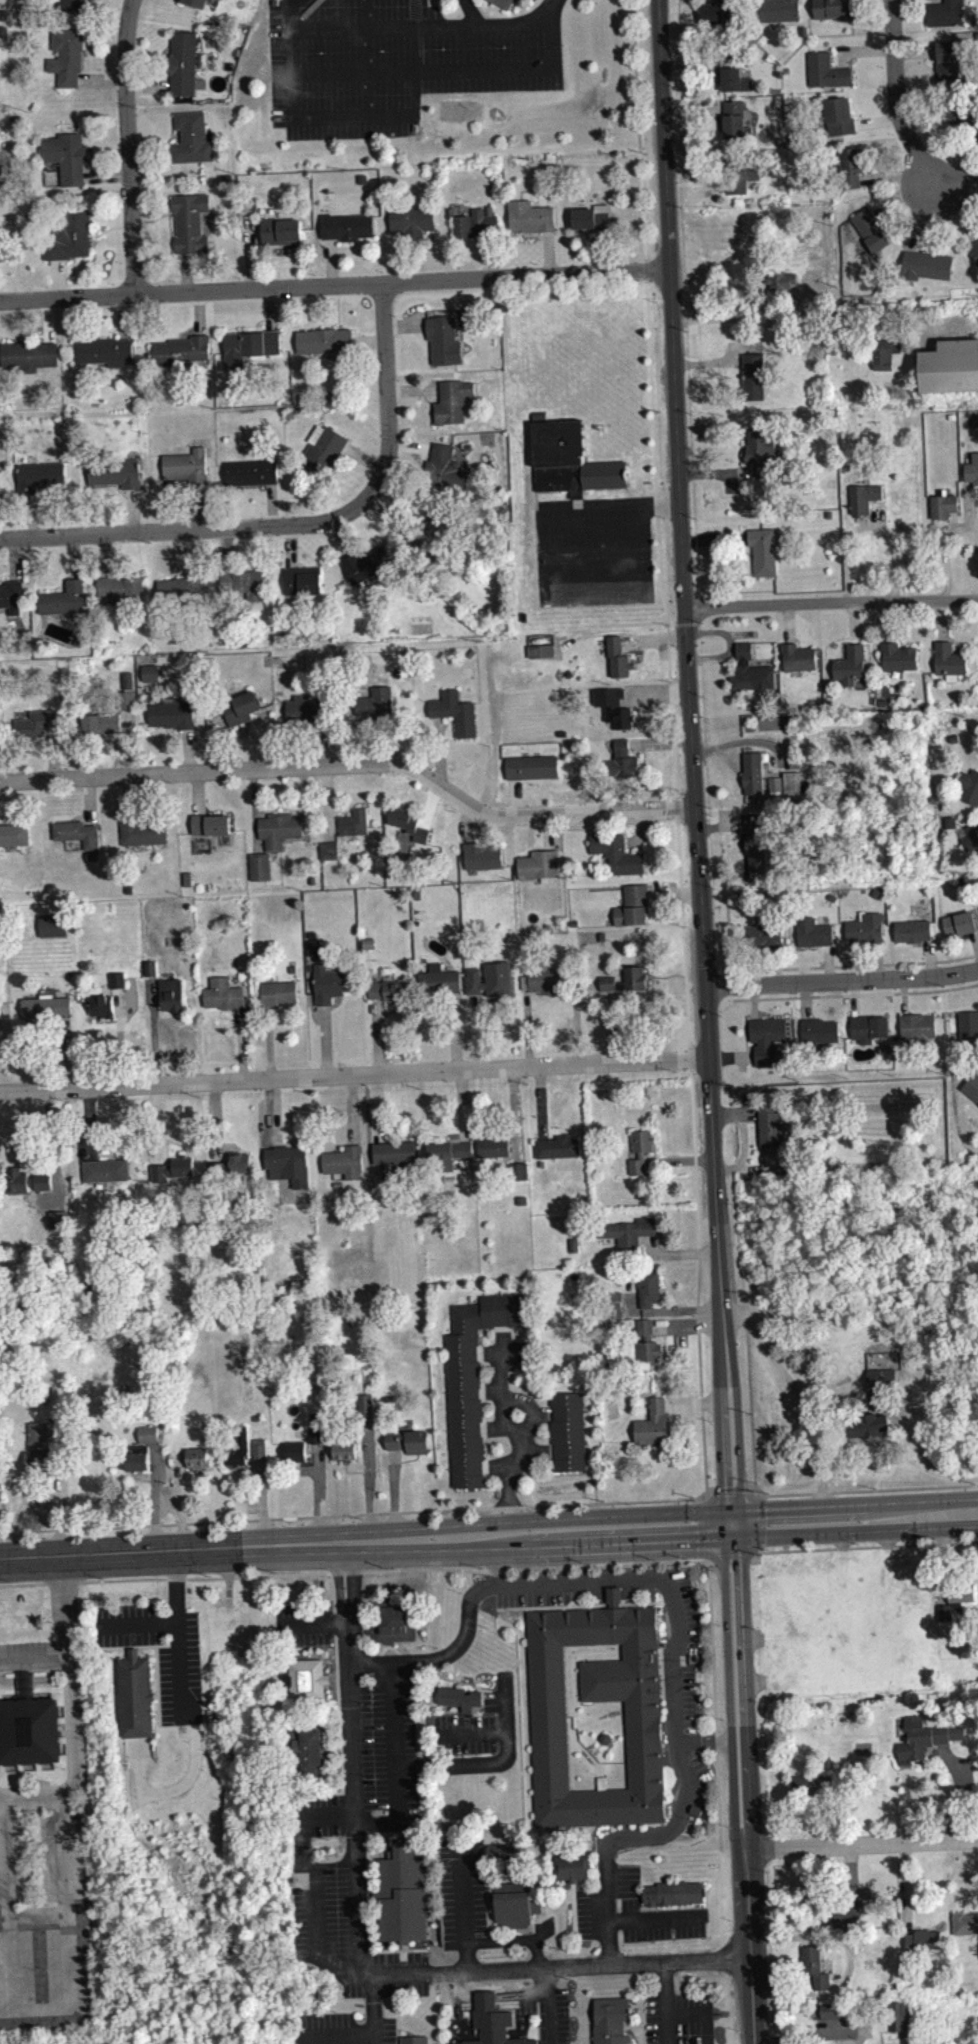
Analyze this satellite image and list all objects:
building: (300, 0)
building: (195, 2)
building: (503, 3)
building: (72, 5)
building: (831, 8)
road: (552, 10)
building: (779, 10)
building: (724, 11)
building: (944, 13)
road: (501, 23)
building: (66, 56)
parking lot: (396, 60)
building: (949, 62)
building: (183, 63)
road: (365, 71)
road: (371, 71)
building: (825, 71)
building: (732, 75)
road: (899, 95)
road: (398, 116)
building: (839, 116)
building: (965, 117)
building: (735, 119)
road: (639, 127)
building: (191, 138)
road: (128, 145)
building: (66, 157)
building: (850, 166)
building: (740, 174)
road: (956, 181)
building: (530, 216)
building: (593, 217)
building: (412, 220)
building: (189, 222)
building: (476, 223)
building: (346, 226)
building: (870, 229)
building: (280, 231)
building: (68, 234)
building: (974, 249)
building: (926, 264)
building: (780, 279)
road: (334, 284)
building: (443, 339)
building: (324, 340)
building: (248, 345)
building: (181, 349)
building: (105, 351)
building: (29, 355)
building: (886, 360)
building: (950, 367)
building: (753, 375)
road: (385, 390)
building: (451, 401)
building: (323, 447)
building: (760, 450)
building: (569, 459)
road: (655, 462)
building: (186, 466)
building: (444, 468)
building: (972, 468)
building: (115, 472)
building: (250, 472)
building: (39, 476)
building: (0, 489)
building: (863, 497)
road: (660, 503)
building: (943, 505)
road: (972, 518)
road: (189, 529)
building: (432, 531)
road: (593, 547)
parking lot: (594, 550)
building: (762, 550)
road: (946, 555)
building: (364, 563)
road: (646, 579)
building: (303, 580)
building: (245, 583)
building: (182, 587)
building: (122, 589)
building: (11, 595)
building: (63, 599)
road: (831, 600)
building: (798, 656)
building: (898, 656)
building: (617, 657)
building: (949, 660)
building: (850, 664)
building: (750, 670)
building: (150, 672)
building: (126, 692)
building: (376, 703)
building: (614, 706)
building: (240, 708)
building: (306, 709)
building: (455, 711)
building: (172, 713)
building: (36, 722)
building: (100, 723)
building: (0, 729)
road: (672, 729)
building: (622, 760)
road: (354, 762)
road: (692, 762)
building: (532, 765)
building: (753, 771)
building: (792, 781)
building: (774, 783)
building: (968, 785)
building: (354, 822)
building: (408, 822)
building: (209, 823)
building: (76, 832)
building: (141, 832)
building: (13, 834)
building: (971, 837)
building: (272, 840)
building: (328, 849)
building: (756, 852)
building: (616, 853)
building: (481, 855)
building: (538, 865)
building: (632, 905)
building: (960, 923)
building: (52, 924)
building: (865, 927)
building: (912, 929)
building: (813, 931)
road: (681, 932)
building: (763, 933)
road: (854, 965)
building: (149, 968)
building: (117, 979)
building: (437, 979)
building: (625, 979)
building: (545, 980)
road: (841, 980)
building: (492, 981)
building: (332, 984)
road: (731, 984)
building: (609, 989)
building: (388, 990)
building: (277, 992)
building: (222, 993)
building: (171, 994)
road: (855, 994)
building: (101, 1005)
building: (45, 1007)
building: (968, 1025)
building: (869, 1027)
building: (917, 1027)
building: (820, 1031)
building: (767, 1039)
road: (688, 1058)
road: (353, 1074)
building: (971, 1086)
building: (976, 1106)
building: (770, 1126)
building: (556, 1146)
building: (493, 1147)
building: (640, 1150)
building: (394, 1152)
building: (446, 1153)
building: (344, 1161)
building: (232, 1163)
building: (182, 1164)
building: (288, 1164)
building: (105, 1170)
building: (517, 1171)
building: (232, 1173)
building: (520, 1178)
building: (25, 1179)
building: (59, 1219)
building: (628, 1232)
road: (698, 1249)
building: (648, 1287)
building: (648, 1341)
building: (472, 1378)
building: (882, 1379)
road: (750, 1396)
building: (365, 1405)
building: (314, 1416)
building: (653, 1423)
road: (508, 1425)
road: (529, 1425)
building: (869, 1425)
building: (568, 1431)
building: (148, 1433)
building: (314, 1433)
building: (405, 1438)
building: (150, 1441)
building: (317, 1442)
building: (238, 1447)
building: (259, 1447)
building: (344, 1449)
building: (38, 1451)
building: (294, 1451)
building: (138, 1457)
building: (197, 1457)
road: (862, 1490)
road: (730, 1491)
road: (754, 1491)
road: (709, 1493)
road: (384, 1513)
road: (854, 1518)
road: (758, 1521)
traffic signals: (730, 1524)
road: (703, 1529)
road: (365, 1542)
road: (863, 1546)
road: (760, 1549)
road: (731, 1555)
road: (356, 1571)
road: (664, 1579)
parking lot: (539, 1589)
building: (956, 1598)
road: (64, 1609)
building: (392, 1619)
road: (136, 1623)
parking lot: (304, 1624)
road: (178, 1636)
parking lot: (682, 1648)
parking lot: (160, 1651)
road: (439, 1655)
road: (573, 1663)
road: (34, 1664)
building: (310, 1681)
road: (578, 1681)
building: (135, 1695)
building: (459, 1697)
road: (507, 1705)
road: (713, 1705)
road: (570, 1713)
building: (30, 1726)
road: (466, 1734)
road: (576, 1734)
road: (74, 1735)
building: (605, 1738)
building: (923, 1738)
parking lot: (408, 1742)
road: (595, 1747)
building: (309, 1750)
building: (550, 1750)
road: (394, 1761)
road: (468, 1766)
road: (745, 1783)
building: (809, 1786)
road: (0, 1793)
road: (30, 1795)
building: (694, 1809)
road: (660, 1836)
road: (864, 1844)
building: (503, 1853)
building: (571, 1866)
parking lot: (319, 1882)
building: (401, 1888)
parking lot: (462, 1892)
building: (672, 1892)
building: (517, 1903)
road: (464, 1905)
building: (831, 1908)
road: (34, 1915)
parking lot: (46, 1917)
parking lot: (661, 1921)
road: (657, 1922)
building: (964, 1922)
building: (922, 1938)
building: (925, 1947)
road: (360, 1949)
building: (815, 1966)
parking lot: (387, 1974)
road: (666, 2002)
road: (375, 2005)
building: (832, 2010)
road: (689, 2012)
parking lot: (679, 2018)
building: (612, 2020)
building: (493, 2022)
building: (900, 2023)
parking lot: (332, 2027)
parking lot: (384, 2030)
road: (341, 2035)
building: (415, 2039)

